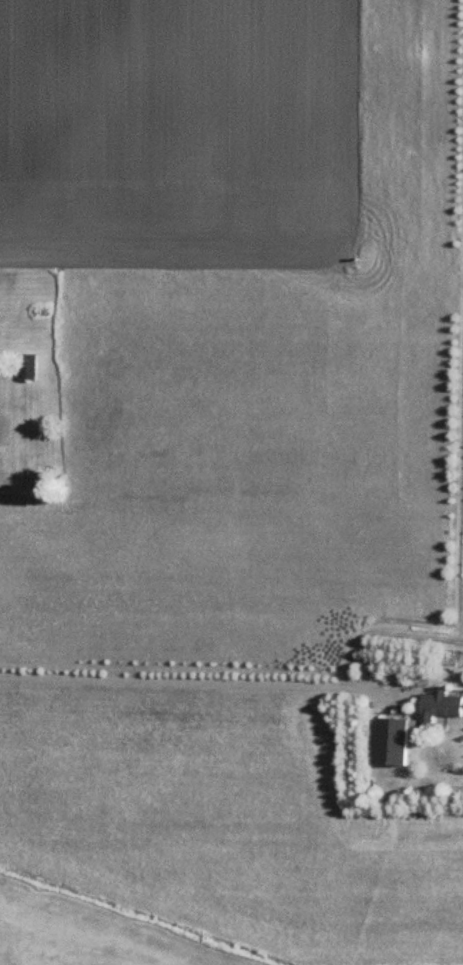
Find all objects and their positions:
building: (34, 366)
road: (192, 679)
building: (443, 703)
building: (400, 739)

